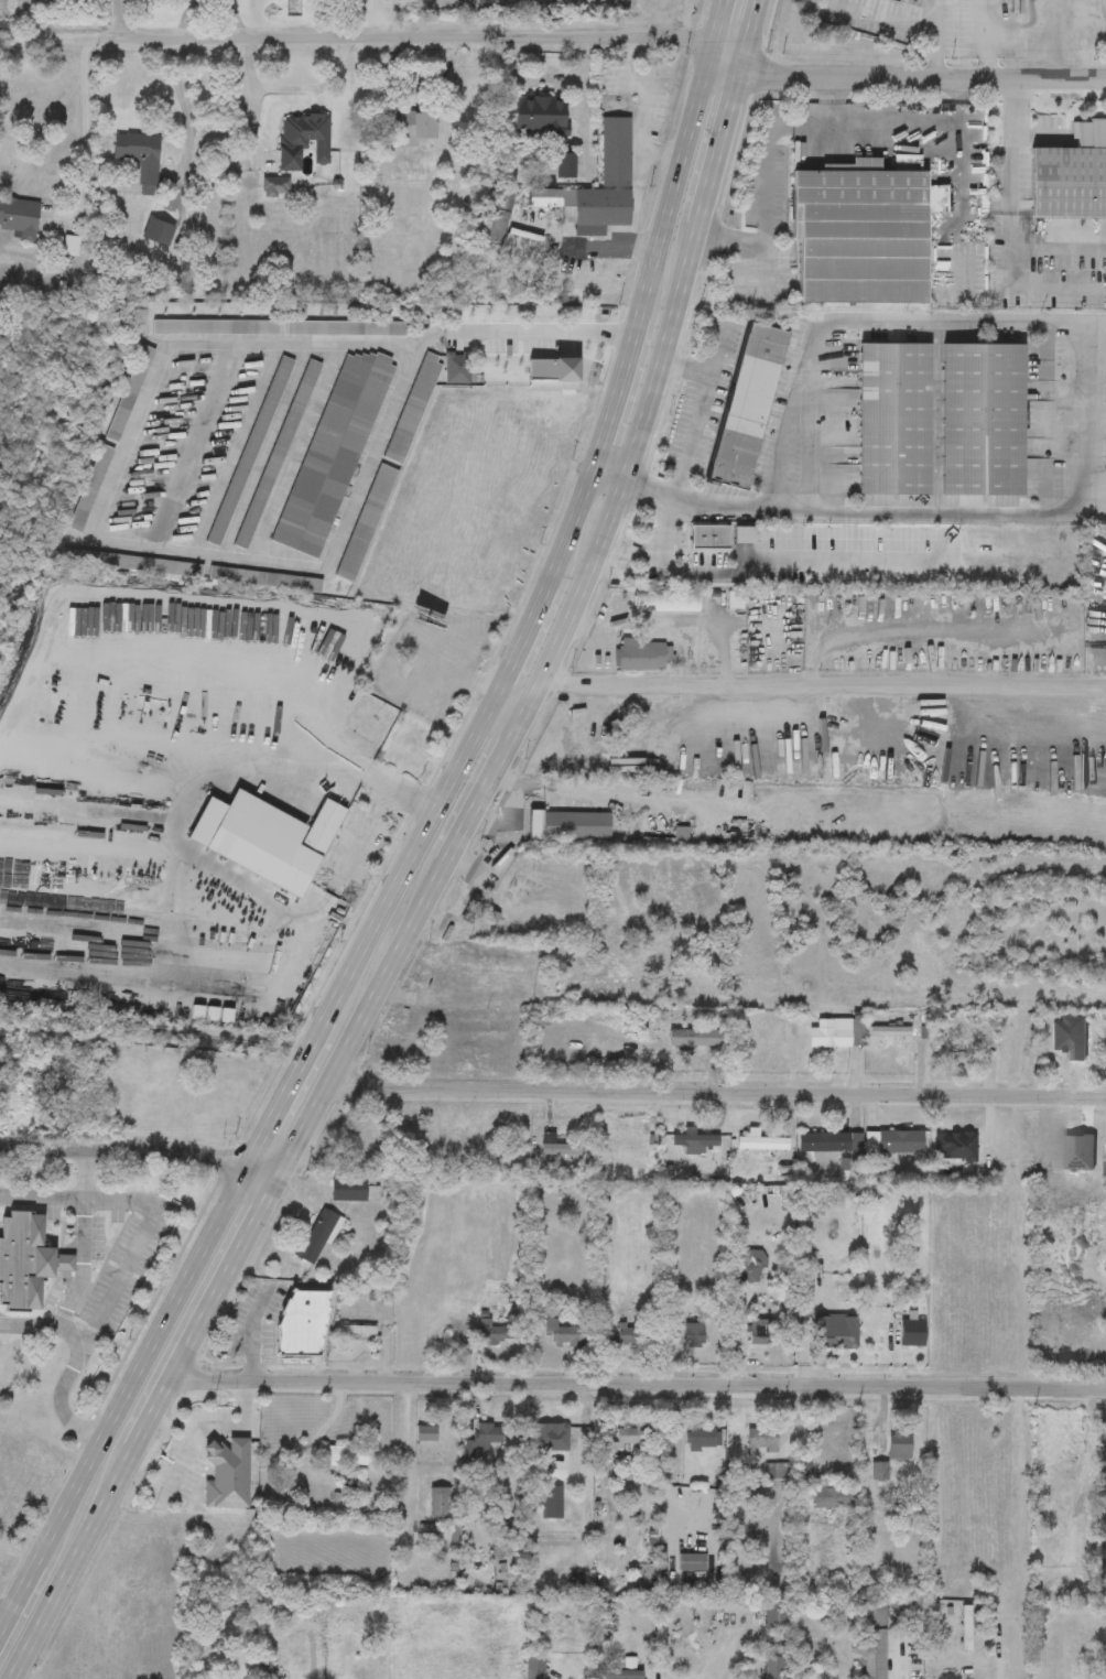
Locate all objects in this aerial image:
building: (889, 0)
road: (124, 15)
road: (935, 25)
road: (376, 33)
road: (935, 39)
road: (545, 76)
road: (925, 76)
road: (293, 89)
road: (644, 110)
road: (187, 111)
building: (539, 117)
road: (926, 128)
building: (419, 129)
road: (85, 134)
building: (303, 140)
building: (616, 152)
building: (139, 155)
road: (768, 160)
building: (565, 167)
building: (1071, 174)
building: (275, 187)
building: (587, 205)
building: (20, 218)
building: (497, 218)
road: (1012, 230)
building: (858, 231)
building: (71, 247)
road: (1059, 249)
road: (953, 319)
road: (1095, 322)
building: (216, 328)
building: (345, 328)
road: (715, 353)
building: (457, 369)
building: (129, 394)
building: (747, 404)
building: (412, 409)
road: (697, 416)
building: (893, 418)
building: (982, 419)
road: (126, 435)
building: (332, 453)
building: (276, 456)
building: (90, 489)
road: (849, 508)
building: (366, 524)
building: (740, 533)
building: (706, 535)
road: (761, 557)
building: (133, 564)
building: (263, 581)
building: (662, 599)
road: (543, 604)
road: (576, 611)
road: (642, 619)
road: (443, 628)
road: (913, 631)
building: (643, 653)
road: (720, 656)
building: (405, 671)
road: (426, 680)
road: (825, 686)
road: (422, 700)
road: (514, 702)
road: (383, 780)
building: (571, 824)
road: (368, 830)
building: (268, 838)
road: (184, 909)
building: (837, 1031)
building: (891, 1032)
building: (693, 1036)
road: (717, 1093)
building: (694, 1137)
building: (817, 1139)
building: (760, 1140)
building: (899, 1140)
building: (1074, 1140)
building: (560, 1147)
road: (140, 1150)
building: (605, 1159)
building: (348, 1188)
road: (44, 1199)
building: (318, 1228)
building: (26, 1261)
road: (85, 1264)
building: (748, 1265)
road: (122, 1278)
road: (47, 1323)
building: (302, 1323)
building: (758, 1330)
building: (911, 1330)
building: (495, 1331)
building: (837, 1331)
building: (563, 1332)
building: (626, 1332)
building: (692, 1332)
road: (250, 1334)
road: (637, 1388)
road: (124, 1396)
road: (143, 1429)
road: (207, 1430)
building: (426, 1432)
building: (552, 1432)
building: (628, 1436)
building: (702, 1438)
building: (760, 1438)
building: (481, 1439)
building: (900, 1443)
building: (345, 1453)
building: (802, 1460)
building: (878, 1469)
building: (228, 1472)
building: (777, 1473)
building: (831, 1496)
building: (551, 1498)
building: (440, 1499)
building: (692, 1561)
building: (776, 1615)
building: (362, 1620)
building: (966, 1625)
building: (874, 1639)
building: (415, 1646)
building: (829, 1646)
road: (998, 1655)
road: (723, 1658)
road: (903, 1662)
building: (533, 1664)
building: (774, 1667)
building: (619, 1670)

